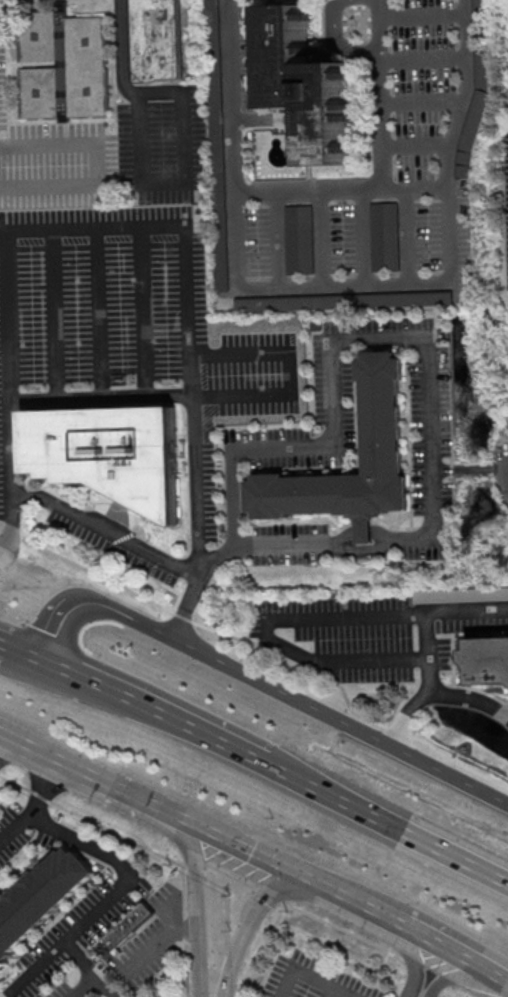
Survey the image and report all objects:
road: (341, 3)
road: (349, 13)
road: (365, 14)
road: (422, 15)
road: (353, 17)
road: (348, 31)
road: (365, 34)
building: (158, 39)
road: (122, 42)
road: (342, 42)
road: (424, 57)
building: (64, 64)
building: (481, 68)
building: (308, 84)
road: (381, 94)
road: (422, 102)
building: (469, 132)
road: (416, 144)
road: (102, 162)
road: (181, 183)
road: (414, 187)
road: (308, 192)
road: (98, 230)
road: (407, 234)
road: (363, 236)
building: (384, 236)
road: (321, 238)
road: (278, 239)
building: (298, 239)
road: (342, 283)
building: (343, 300)
road: (144, 311)
road: (98, 312)
road: (54, 313)
road: (416, 338)
road: (289, 374)
road: (150, 393)
building: (386, 428)
building: (112, 454)
road: (471, 471)
road: (104, 529)
building: (460, 593)
road: (380, 615)
road: (1, 643)
road: (262, 646)
road: (293, 649)
road: (426, 650)
road: (23, 652)
road: (373, 661)
building: (490, 662)
road: (432, 689)
road: (265, 691)
road: (153, 710)
road: (3, 739)
road: (43, 751)
road: (14, 782)
road: (38, 795)
road: (140, 799)
road: (36, 806)
road: (385, 823)
road: (116, 833)
road: (255, 854)
road: (194, 862)
traffic signals: (299, 875)
road: (112, 891)
building: (43, 900)
road: (360, 903)
road: (198, 911)
road: (305, 911)
building: (128, 926)
road: (248, 927)
road: (184, 929)
road: (160, 944)
road: (258, 949)
road: (456, 952)
road: (79, 959)
road: (414, 961)
road: (308, 976)
road: (452, 976)
road: (95, 978)
road: (329, 992)

